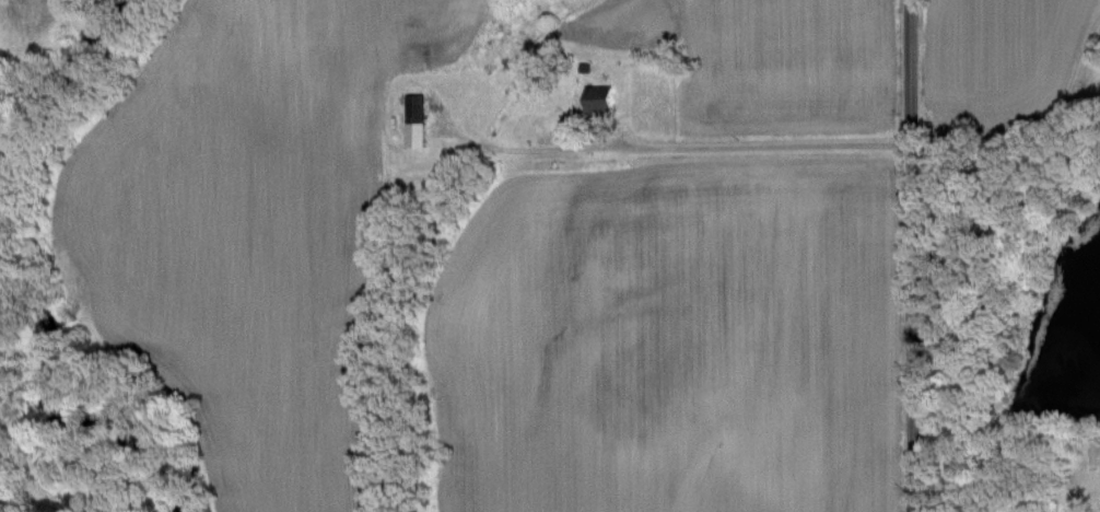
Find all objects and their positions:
building: (596, 96)
building: (412, 118)
road: (759, 140)
road: (1041, 141)
road: (905, 256)
crop: (681, 335)

